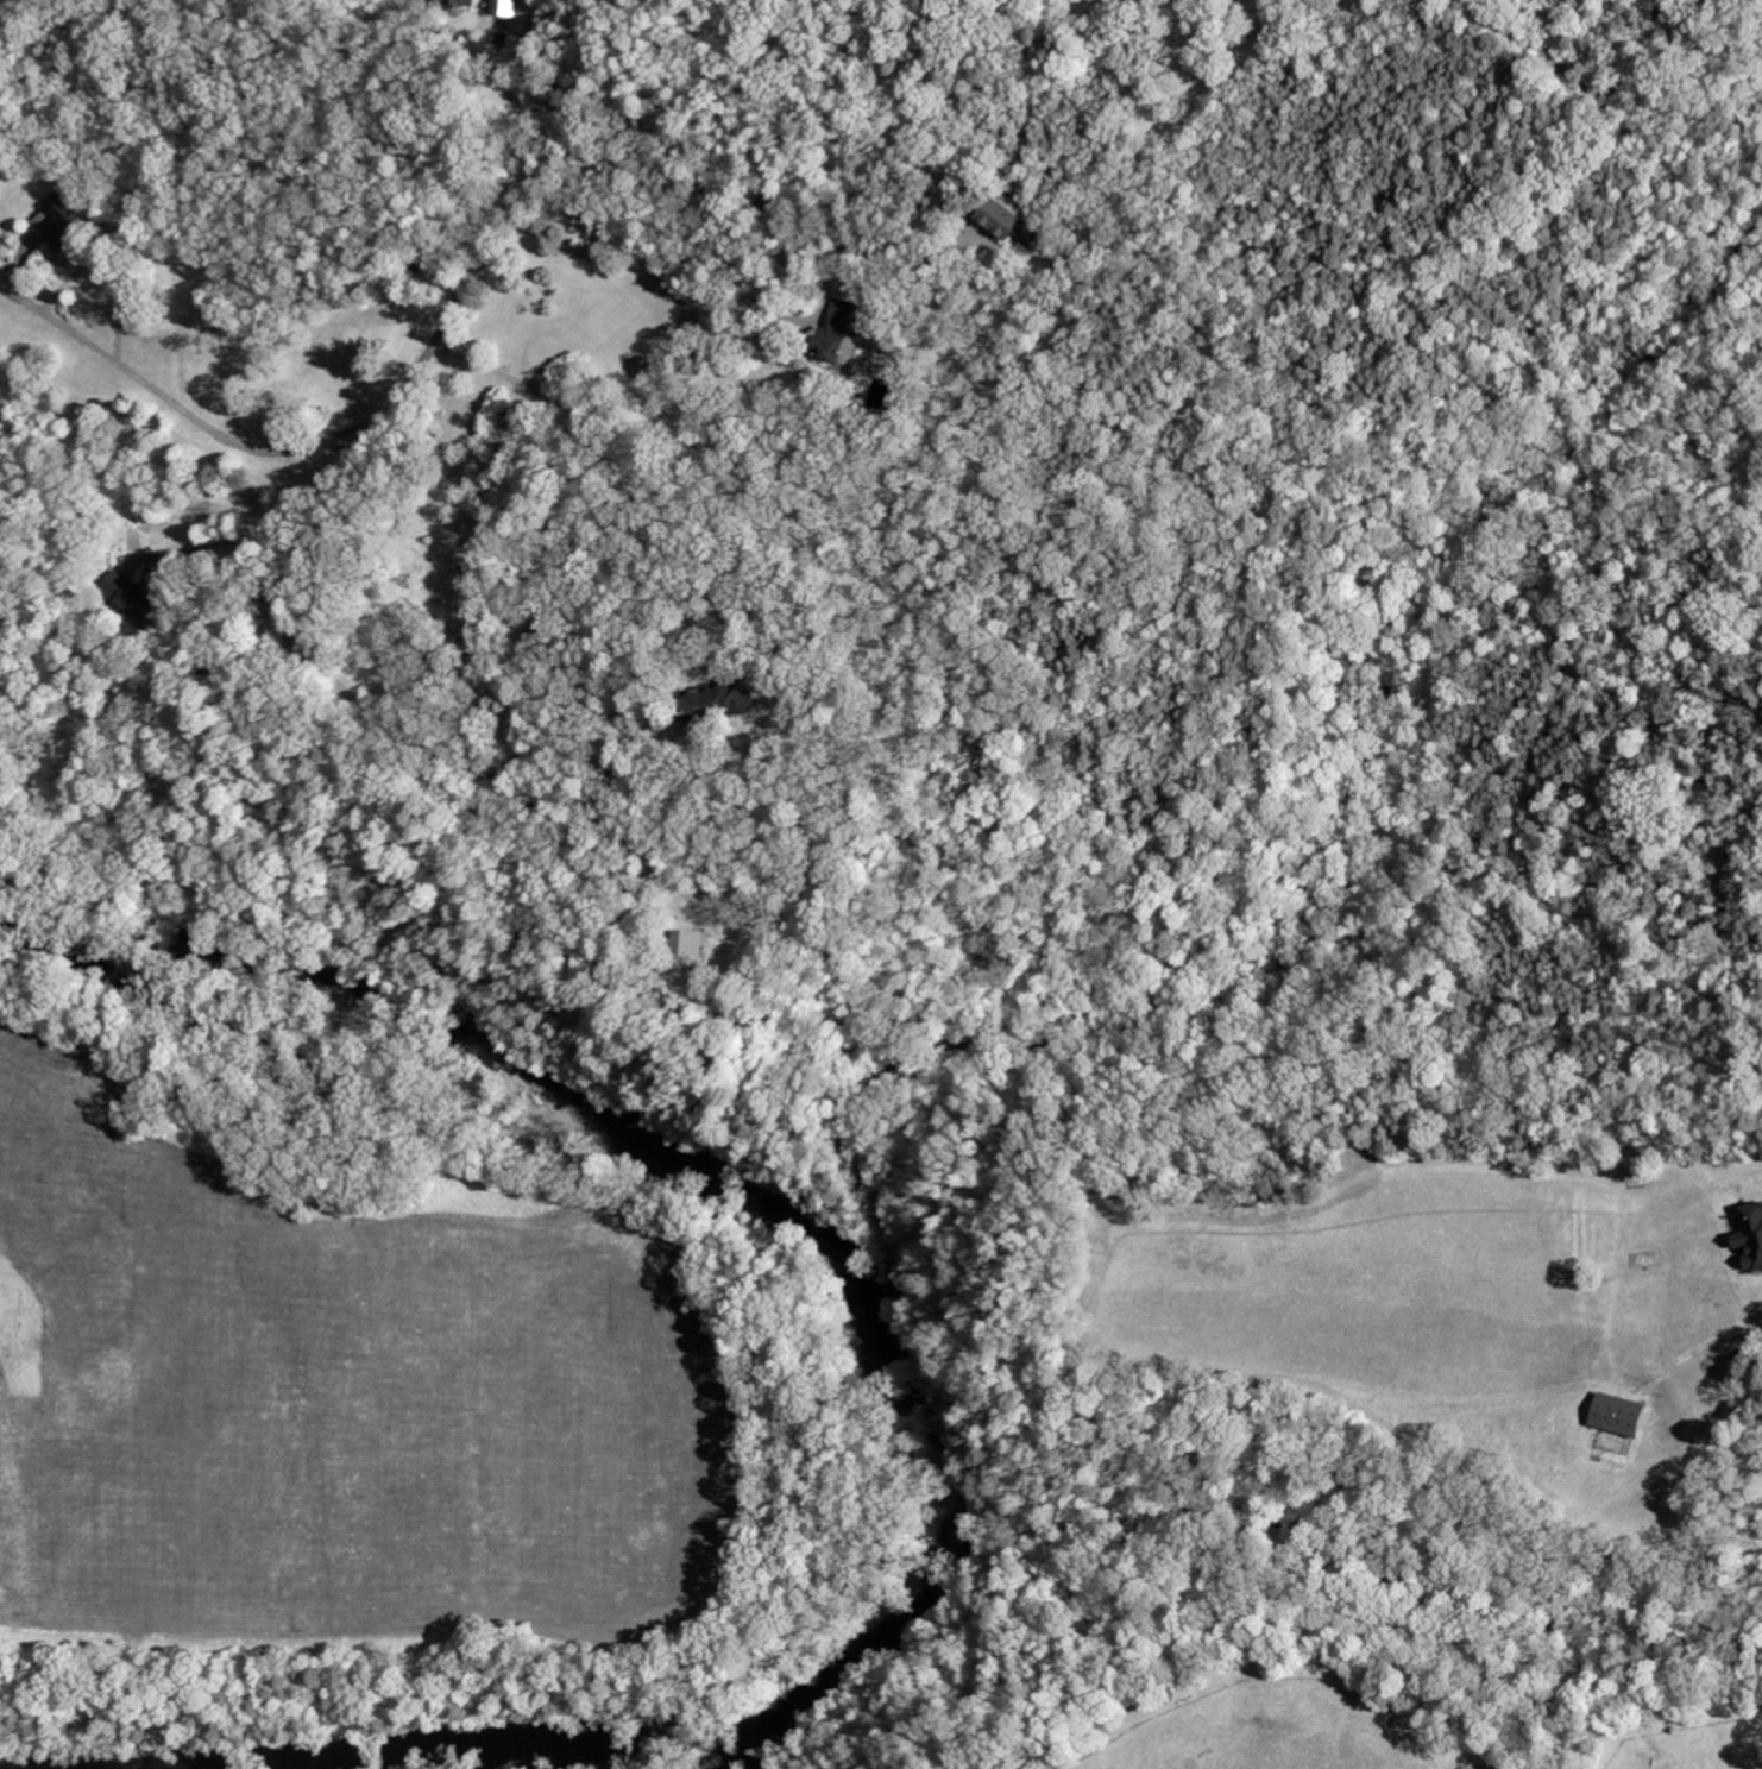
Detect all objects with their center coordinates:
building: (461, 4)
road: (503, 83)
building: (1006, 216)
building: (68, 221)
building: (981, 237)
road: (659, 296)
road: (451, 308)
building: (837, 333)
road: (165, 397)
road: (612, 465)
road: (225, 547)
building: (138, 596)
building: (726, 703)
road: (455, 766)
building: (696, 945)
river: (741, 1192)
building: (1752, 1239)
building: (1622, 1417)
river: (429, 1755)

